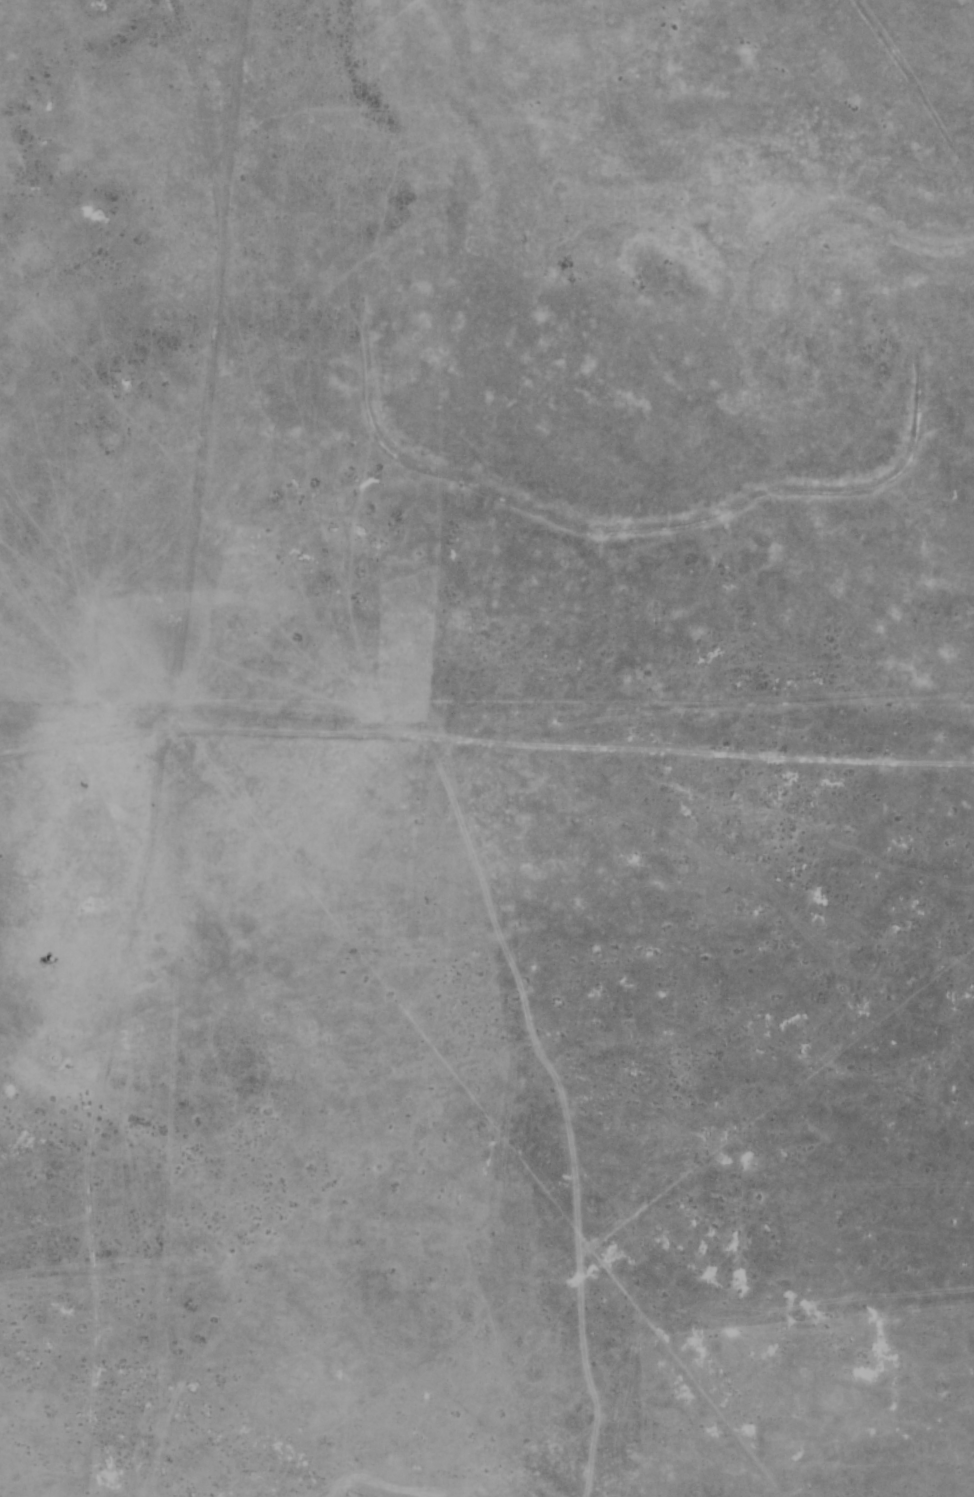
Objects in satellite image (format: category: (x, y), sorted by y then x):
road: (198, 744)
road: (486, 859)

